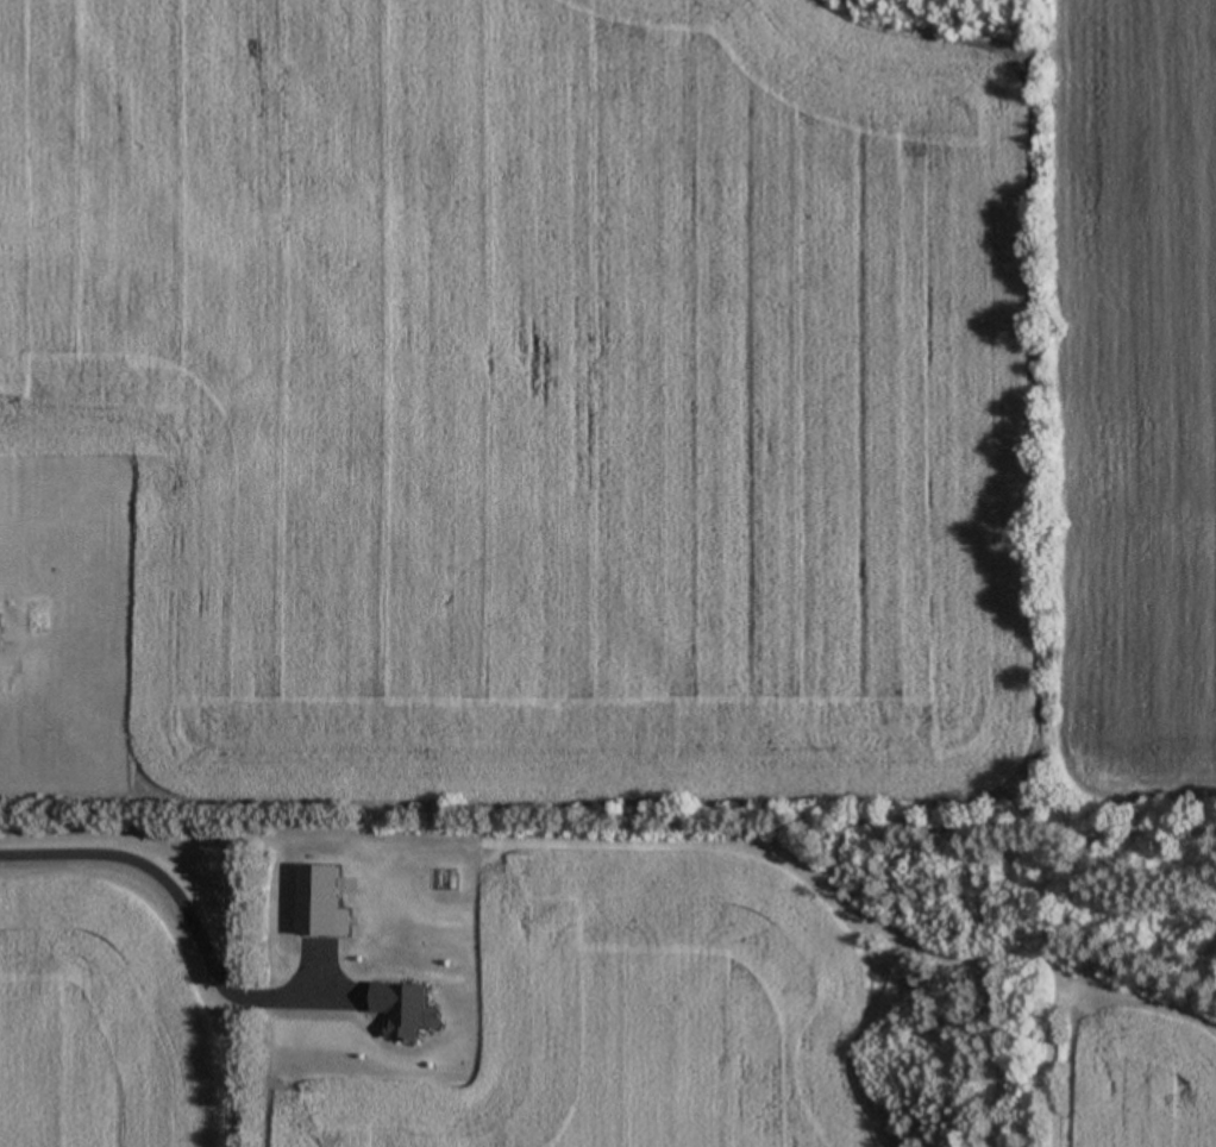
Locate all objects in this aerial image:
road: (182, 903)

